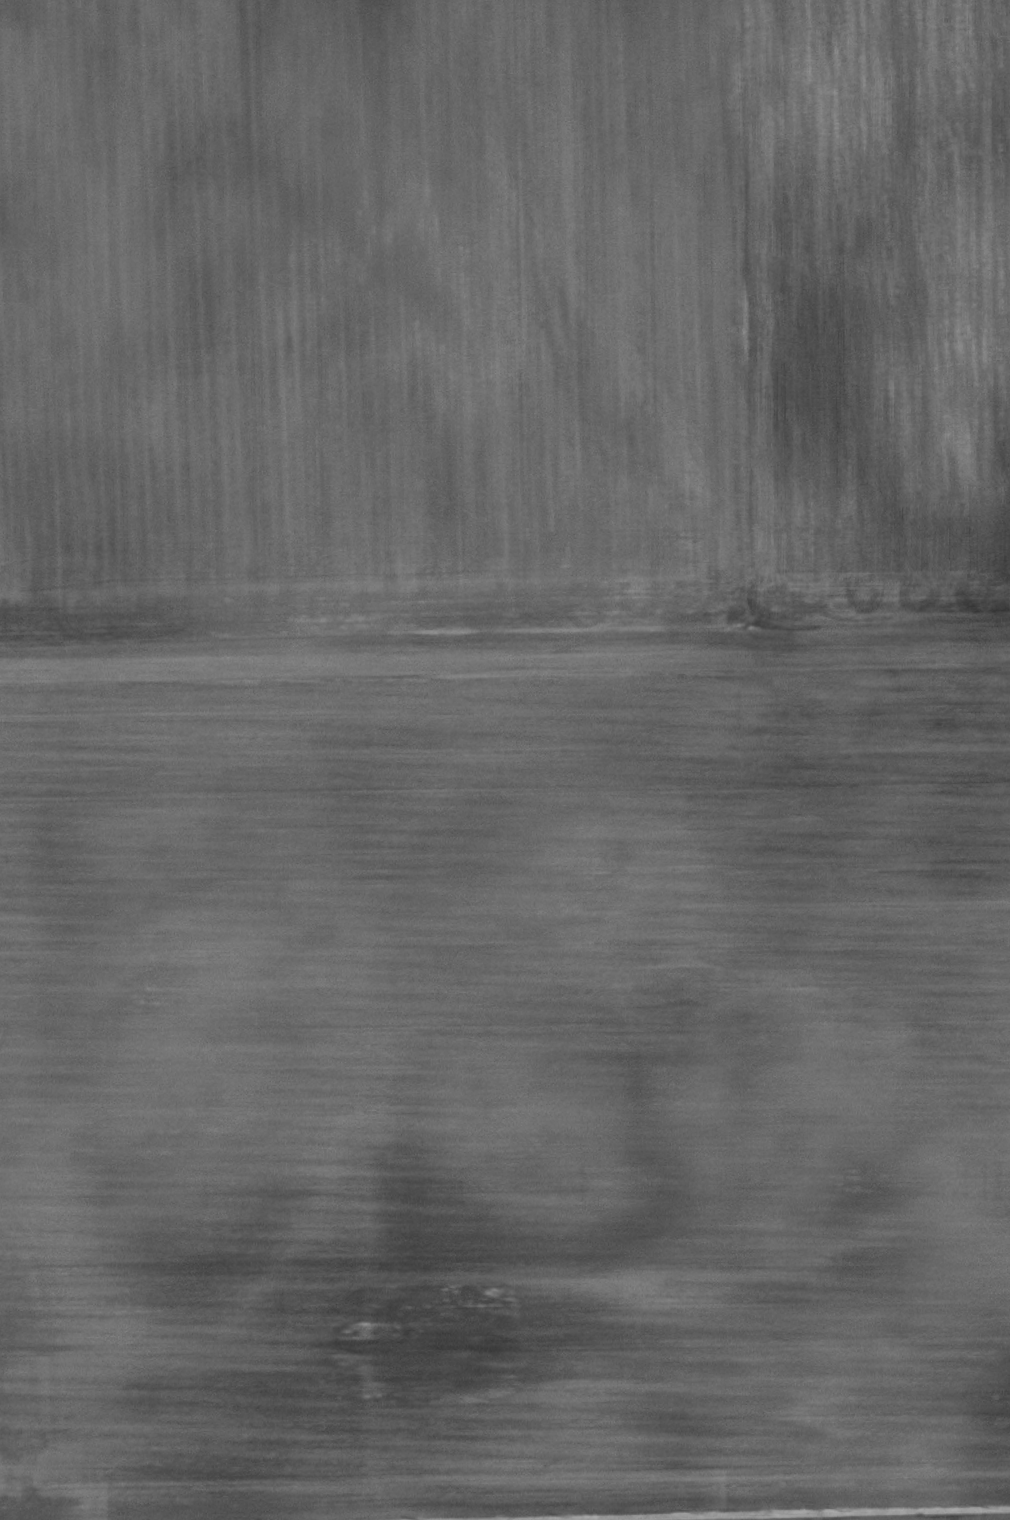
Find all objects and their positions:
road: (1003, 1519)

